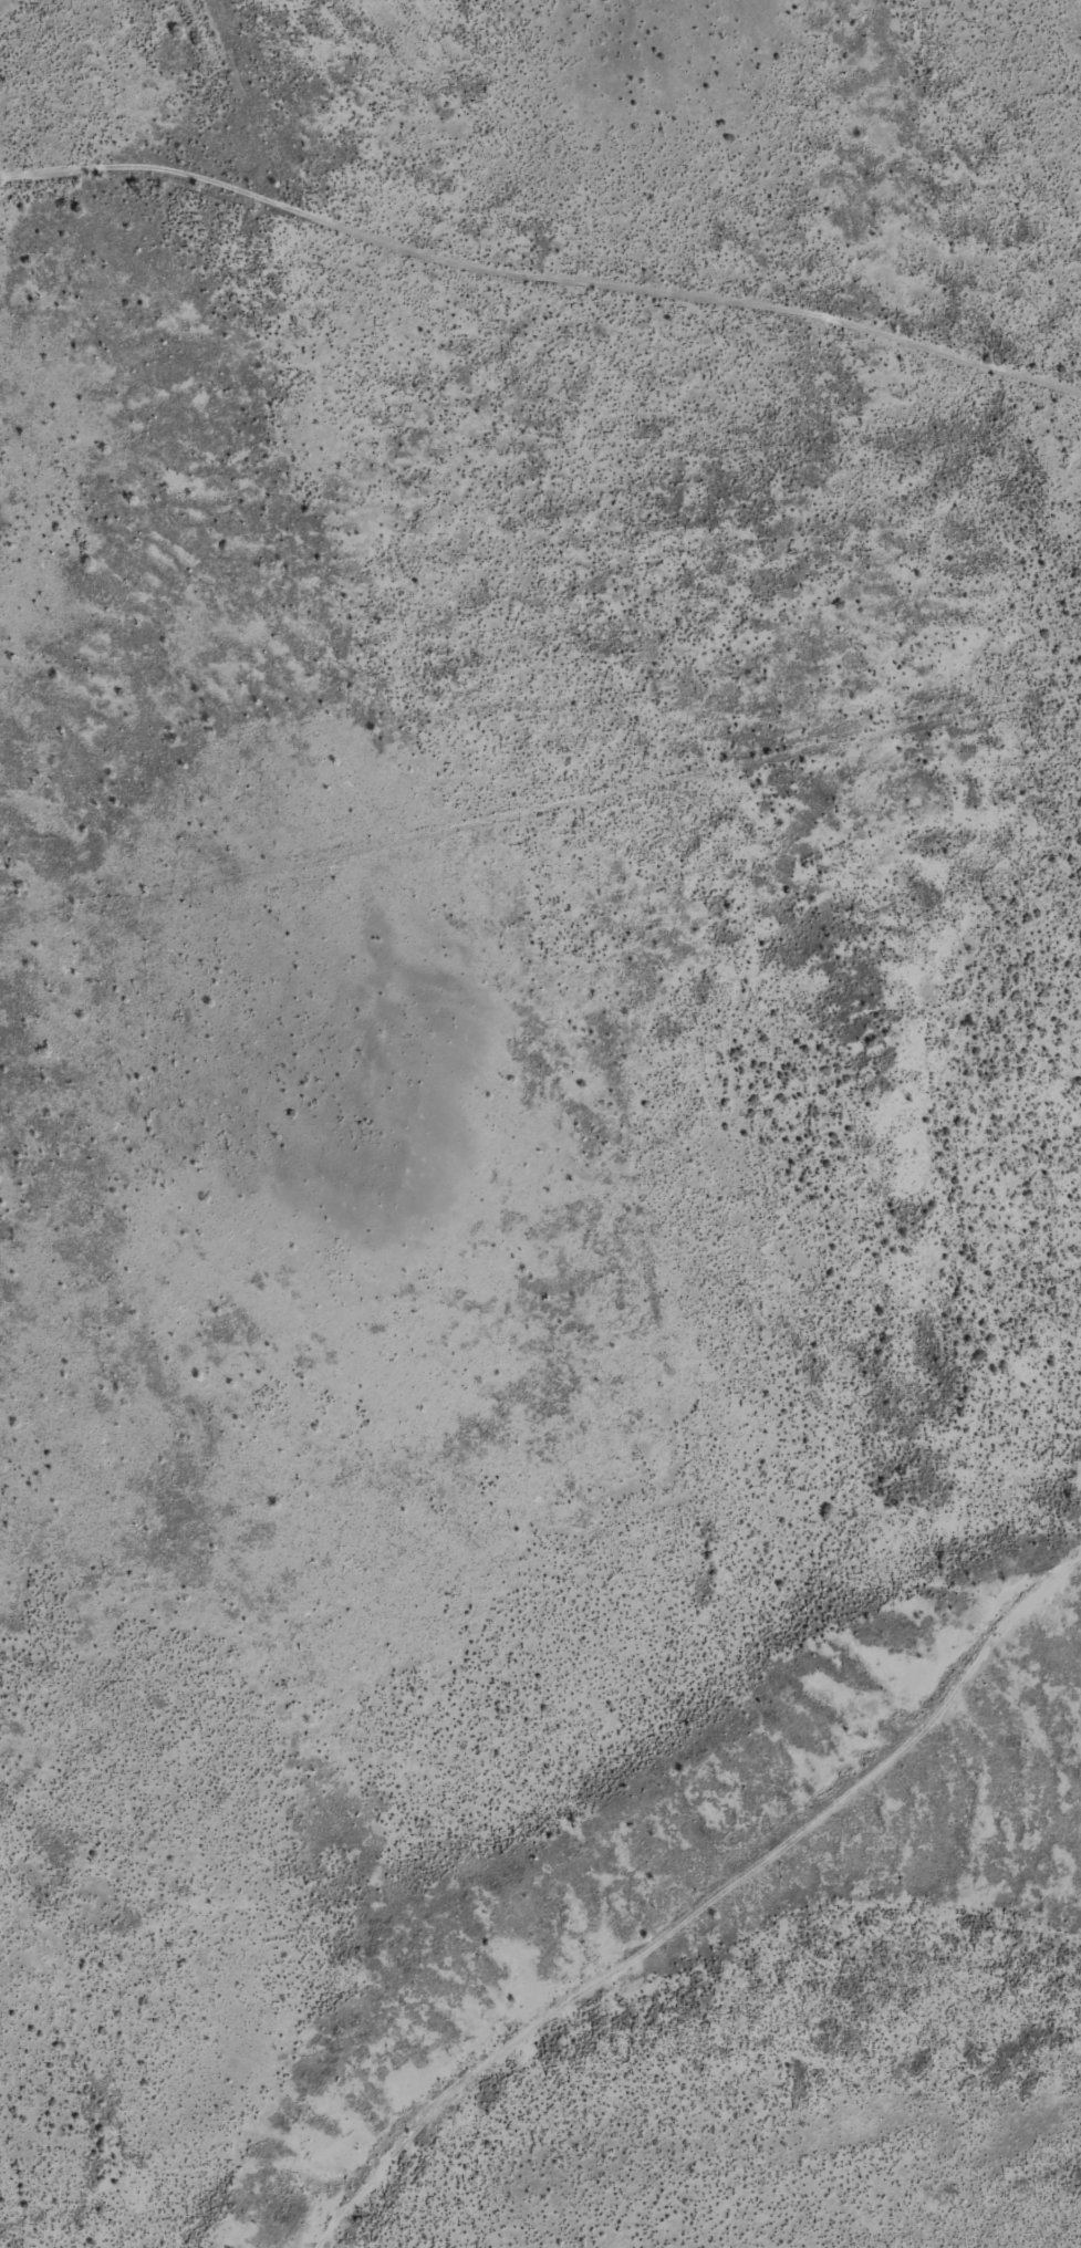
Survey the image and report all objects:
road: (547, 263)
road: (719, 1921)

